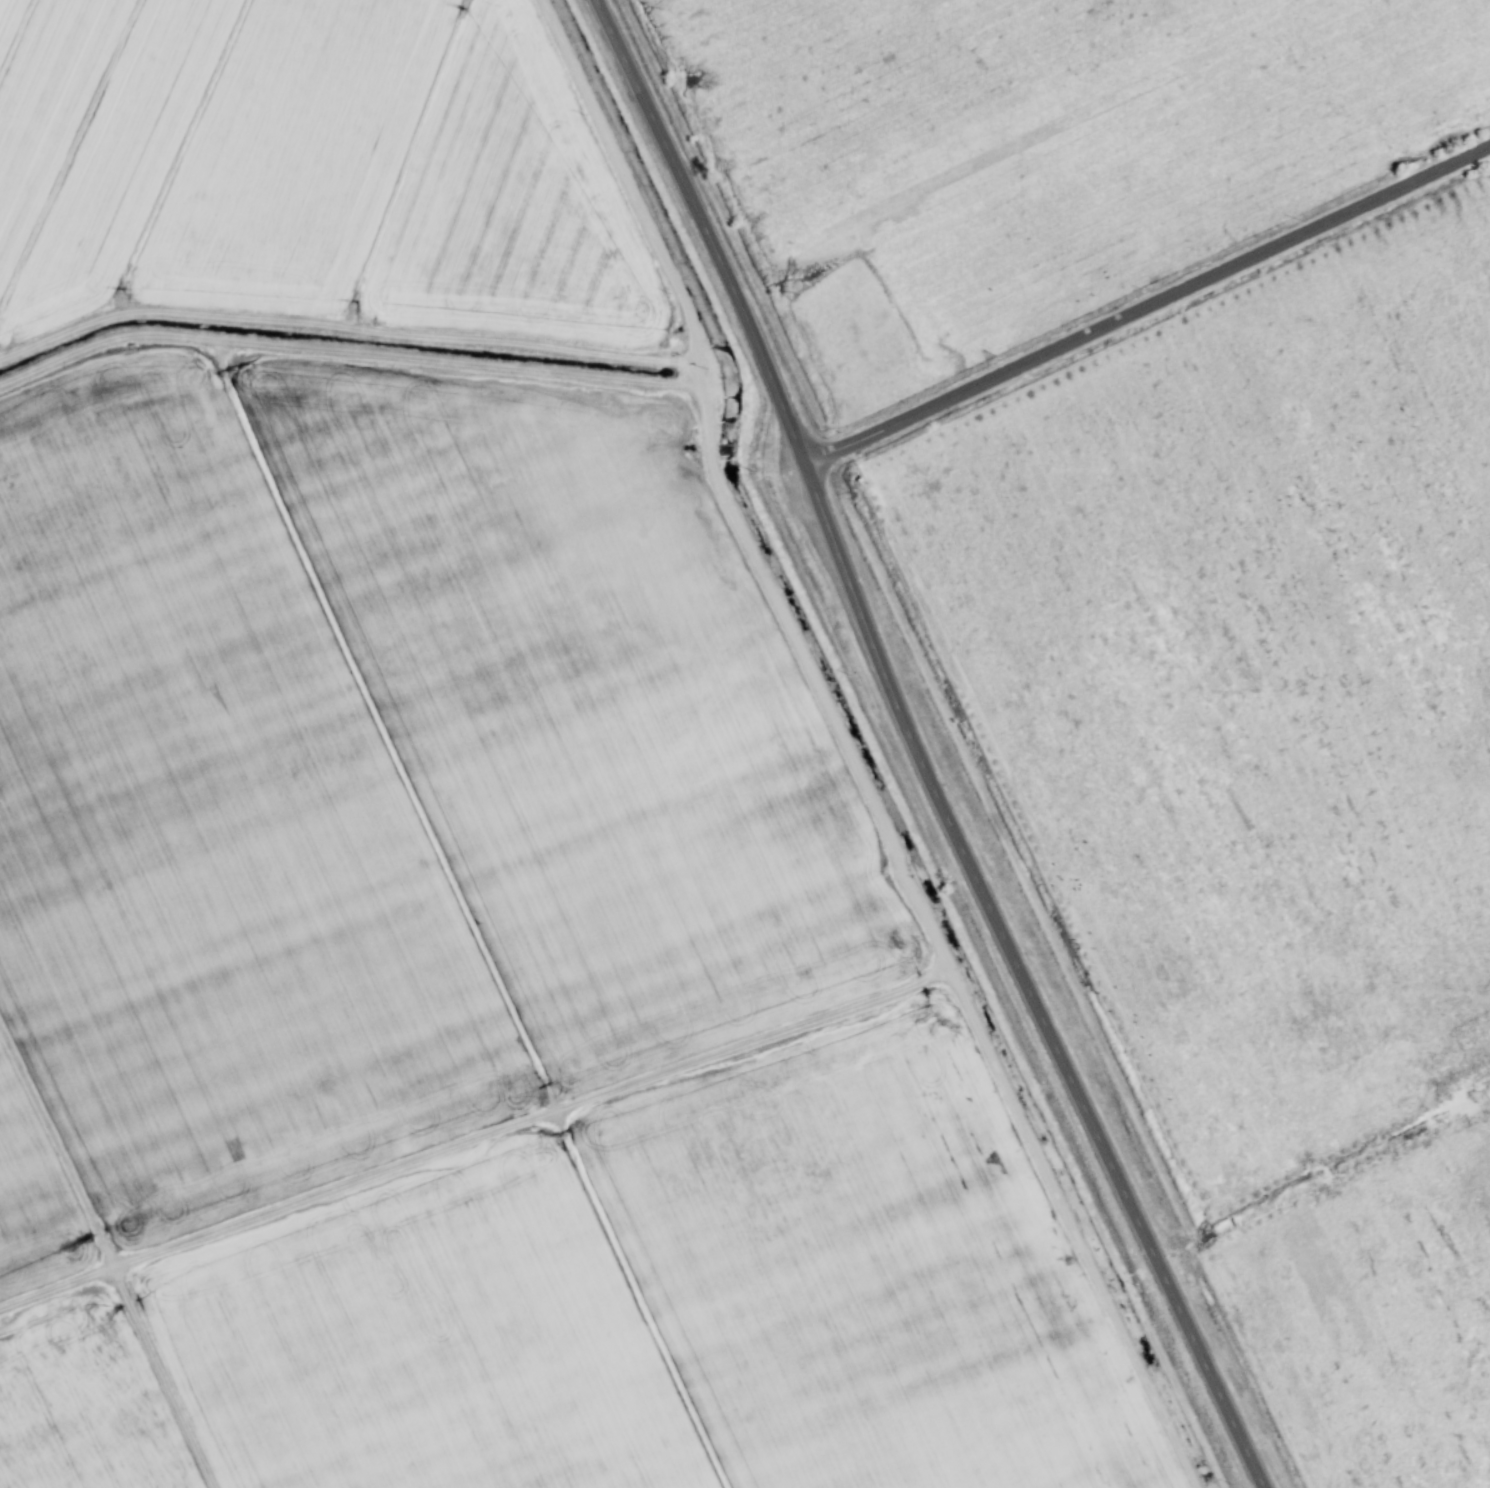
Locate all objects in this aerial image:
road: (1147, 306)
road: (913, 750)

